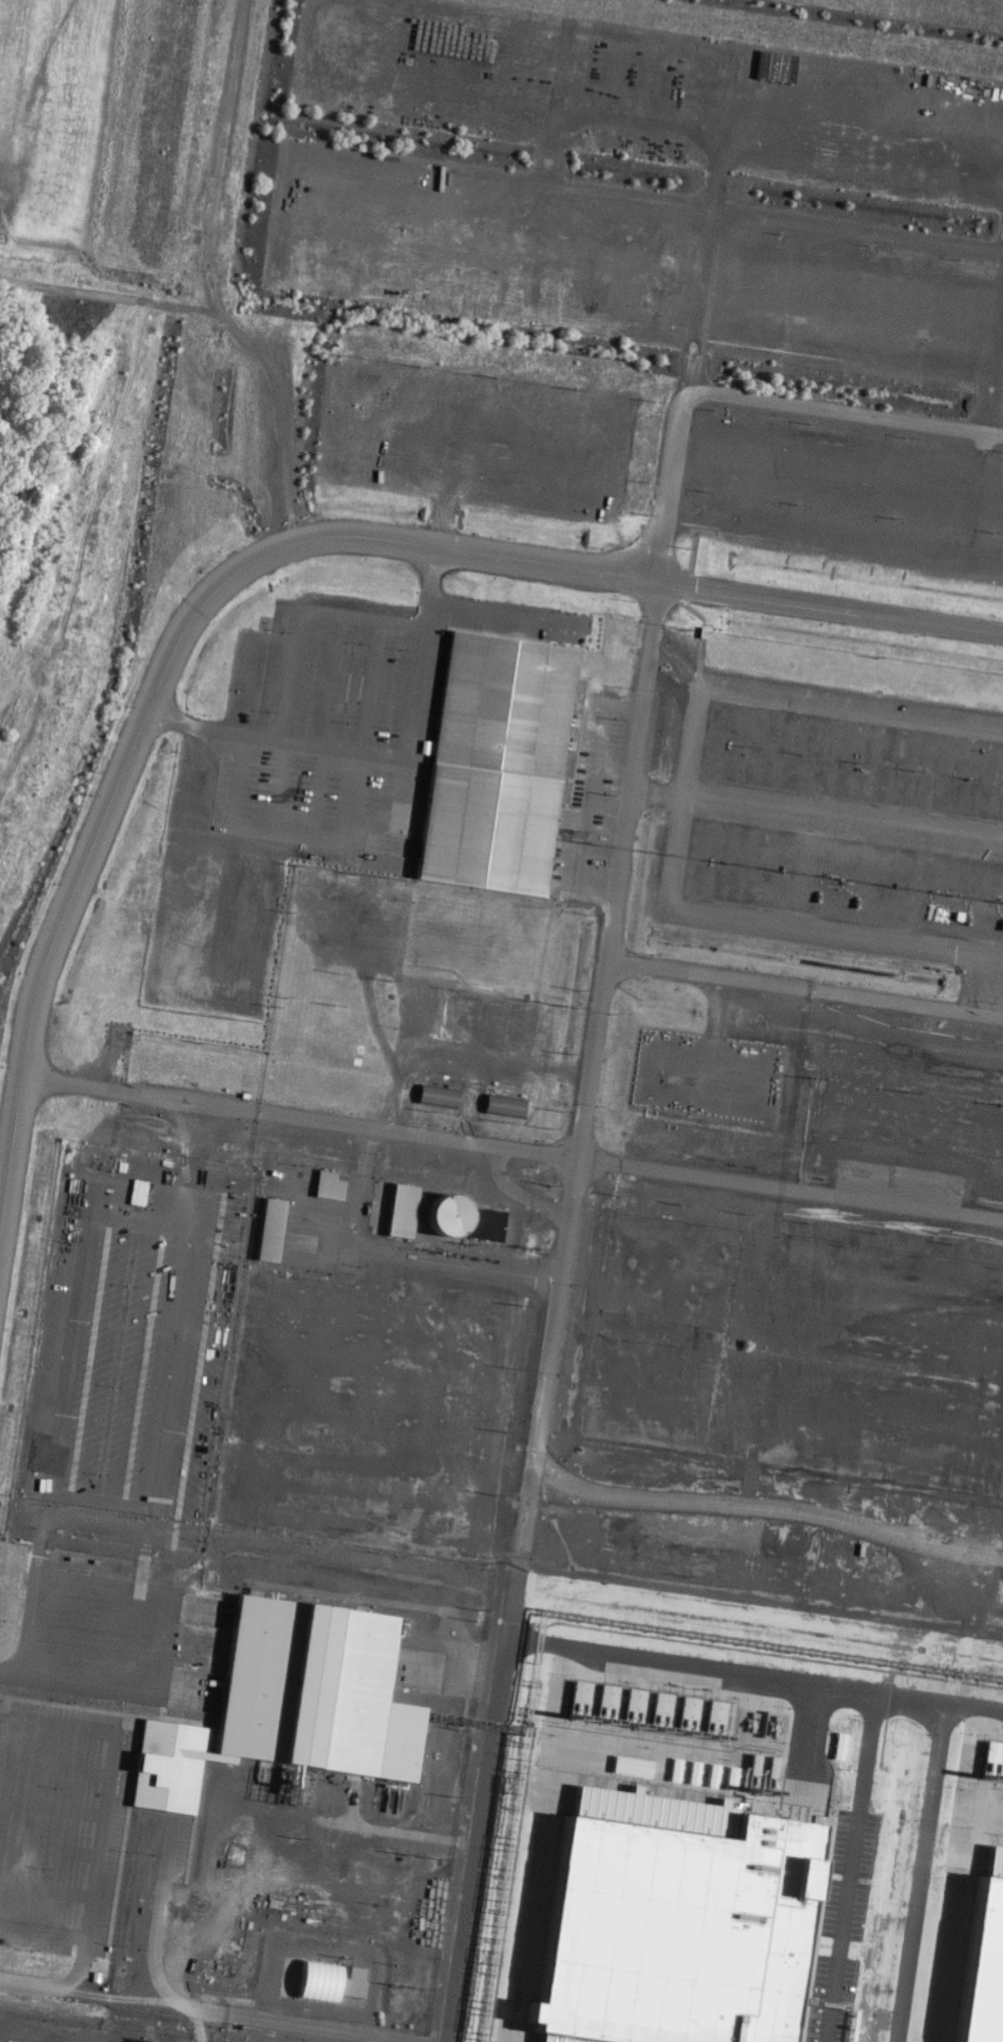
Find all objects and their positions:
road: (705, 247)
road: (844, 410)
road: (449, 462)
road: (385, 470)
road: (282, 508)
road: (281, 550)
road: (505, 613)
road: (651, 643)
road: (679, 660)
road: (623, 705)
road: (853, 708)
parking lot: (358, 709)
road: (286, 733)
road: (326, 747)
road: (366, 753)
road: (384, 757)
building: (498, 763)
road: (609, 802)
road: (844, 812)
road: (588, 815)
road: (723, 921)
road: (608, 931)
road: (988, 985)
road: (909, 1000)
building: (439, 1096)
building: (505, 1106)
building: (329, 1185)
road: (128, 1199)
building: (403, 1211)
building: (467, 1220)
building: (271, 1230)
road: (551, 1320)
road: (39, 1542)
road: (144, 1566)
road: (759, 1606)
road: (28, 1619)
road: (108, 1687)
building: (279, 1701)
building: (632, 1705)
building: (631, 1767)
road: (59, 1768)
road: (107, 1798)
road: (53, 1808)
road: (49, 1849)
road: (46, 1890)
building: (659, 1922)
road: (43, 1932)
building: (982, 1966)
building: (326, 1983)
road: (181, 2004)

